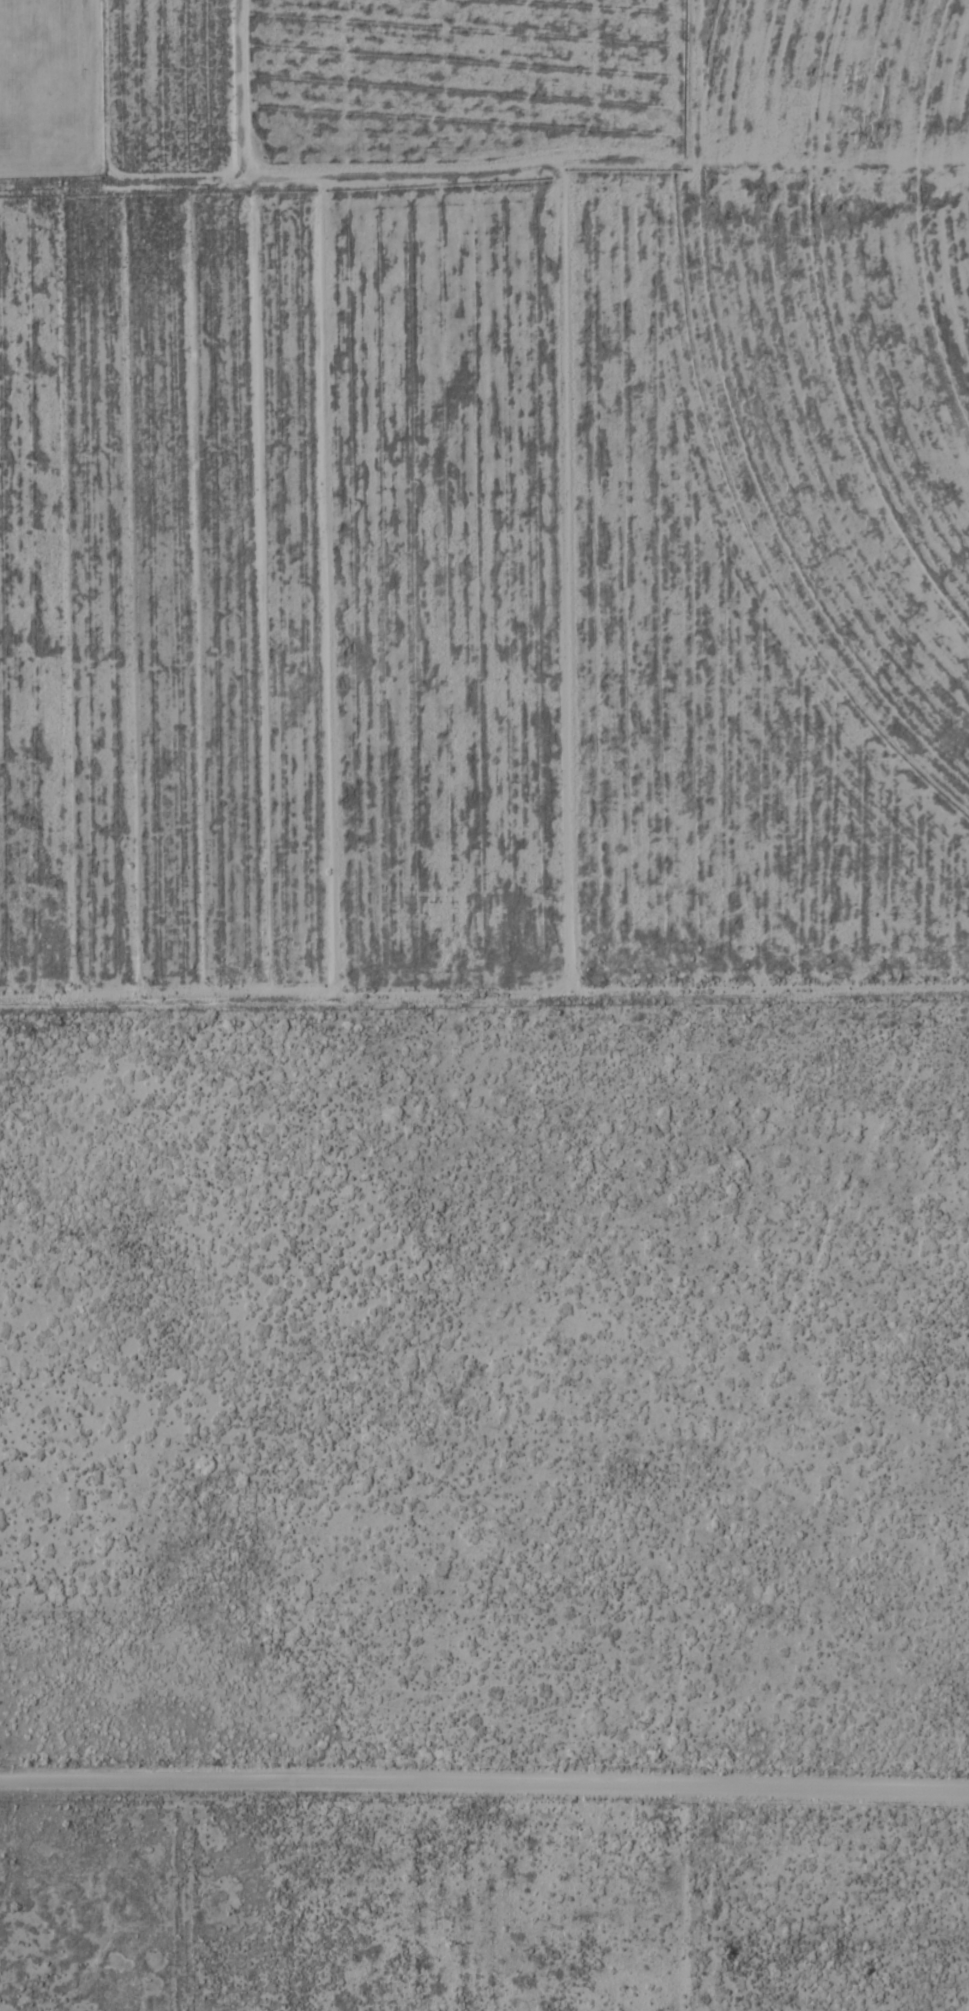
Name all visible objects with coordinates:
road: (484, 1782)

